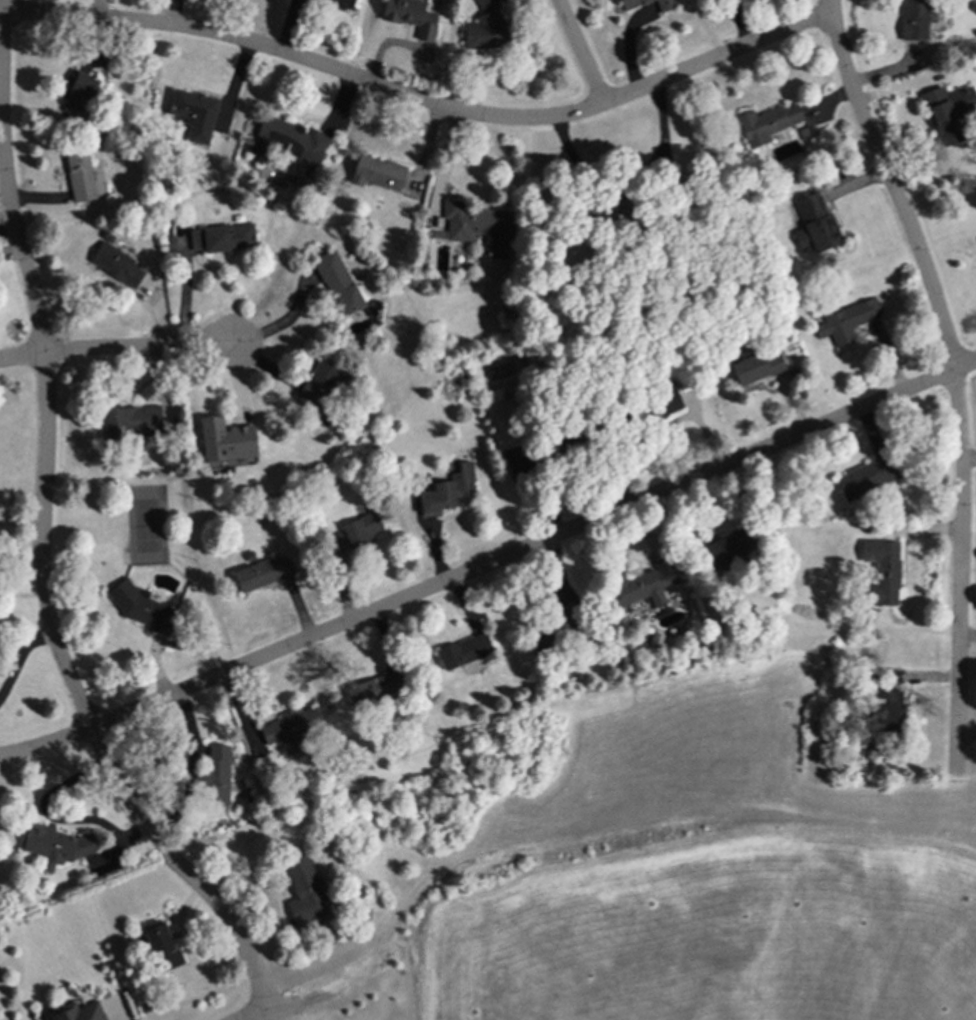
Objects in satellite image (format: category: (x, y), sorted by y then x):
building: (632, 3)
building: (341, 4)
building: (665, 4)
building: (411, 17)
building: (914, 19)
building: (486, 28)
road: (579, 51)
building: (78, 93)
road: (420, 100)
building: (949, 111)
building: (193, 114)
building: (766, 123)
building: (290, 142)
building: (378, 173)
building: (80, 175)
road: (631, 181)
building: (815, 224)
building: (479, 227)
building: (228, 237)
building: (196, 239)
building: (117, 265)
building: (338, 282)
building: (847, 321)
road: (280, 324)
road: (136, 348)
road: (22, 358)
building: (757, 366)
road: (952, 377)
building: (322, 383)
building: (668, 398)
building: (132, 420)
building: (227, 443)
road: (968, 459)
building: (867, 477)
building: (449, 491)
building: (356, 532)
road: (42, 534)
building: (719, 550)
road: (489, 564)
building: (882, 570)
building: (261, 573)
building: (642, 584)
building: (141, 607)
building: (464, 651)
building: (376, 688)
building: (886, 711)
building: (293, 729)
building: (217, 774)
road: (51, 816)
building: (55, 845)
building: (305, 891)
building: (162, 947)
road: (272, 1010)
building: (78, 1012)
road: (265, 1016)

